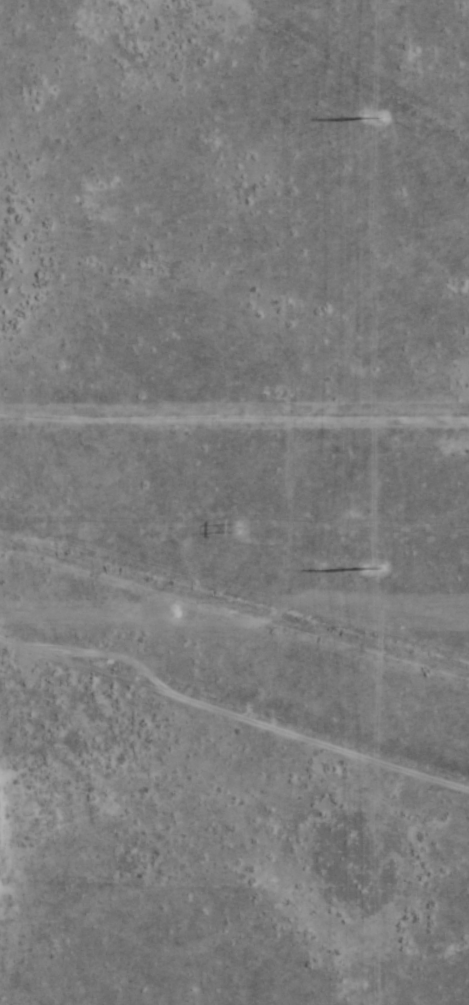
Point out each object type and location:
power tower: (374, 117)
power tower: (241, 527)
power tower: (371, 568)
power tower: (177, 615)

